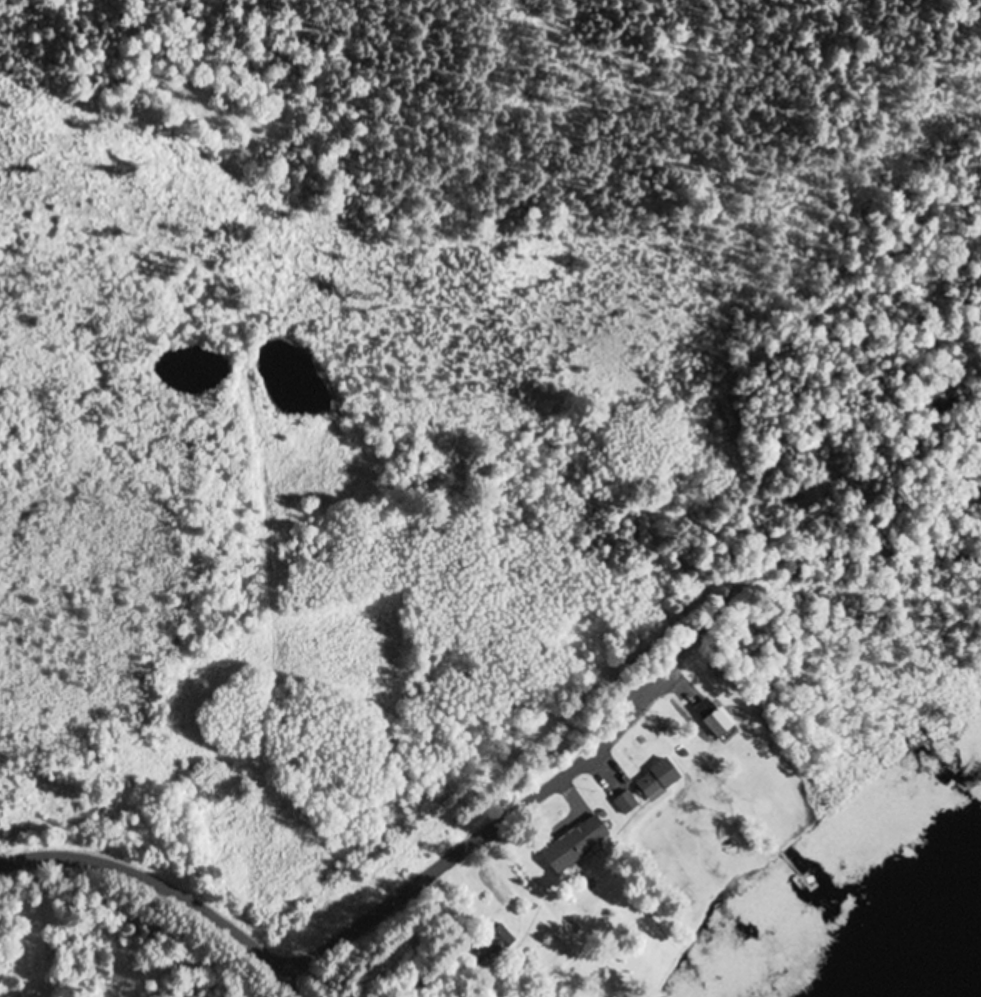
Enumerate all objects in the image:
building: (716, 718)
building: (659, 779)
building: (627, 802)
building: (578, 844)
road: (361, 925)
building: (492, 948)

